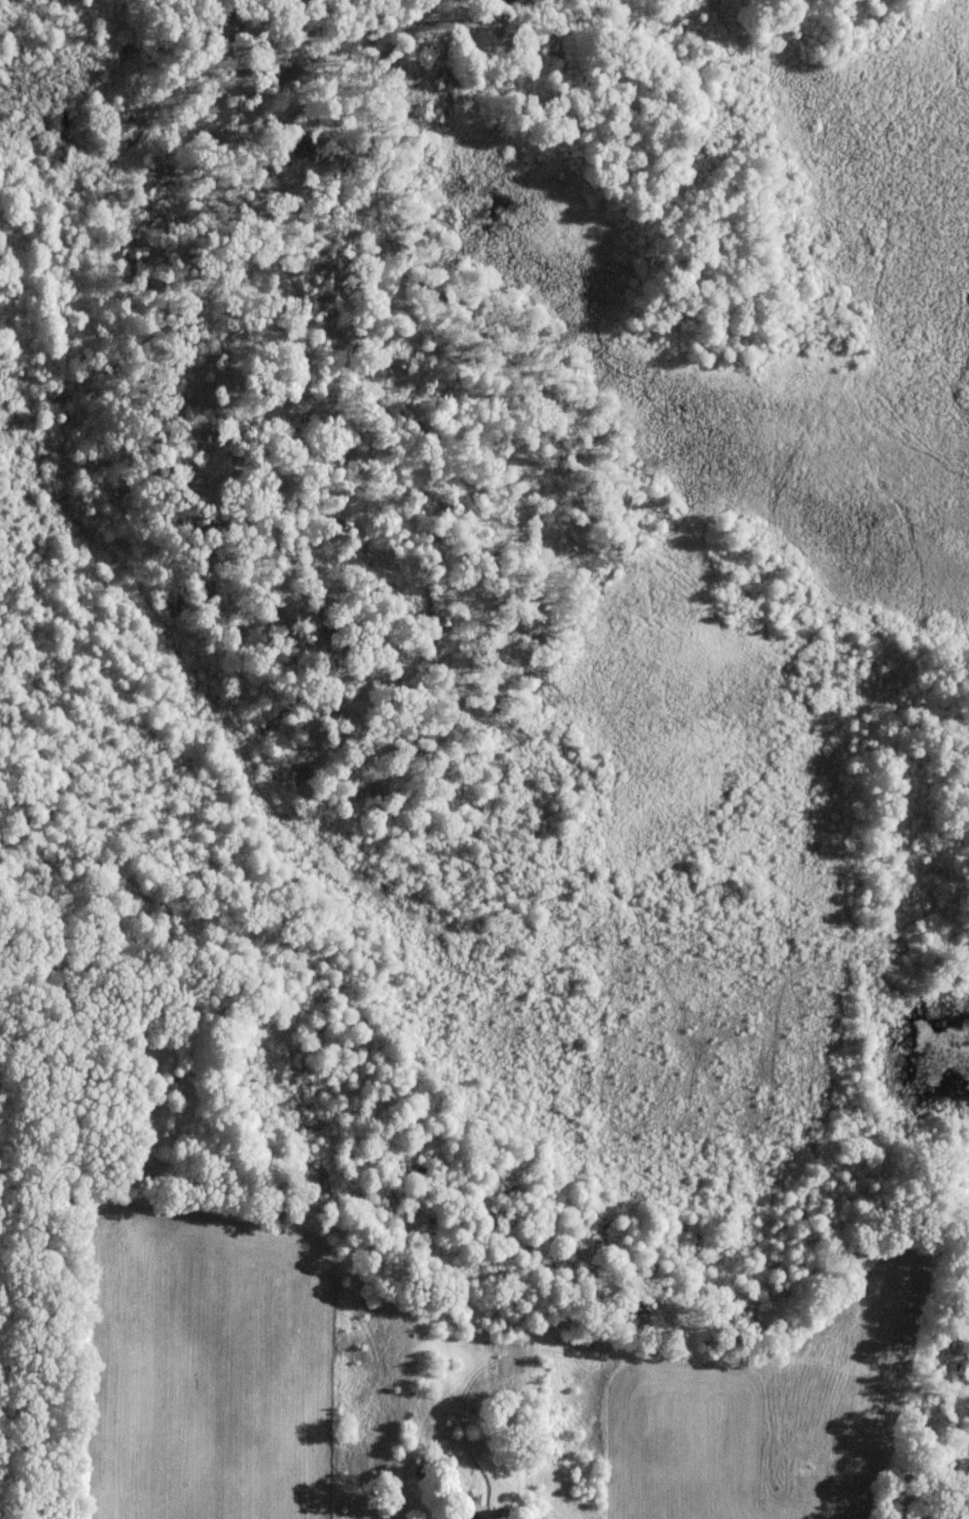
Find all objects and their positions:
building: (458, 1513)

